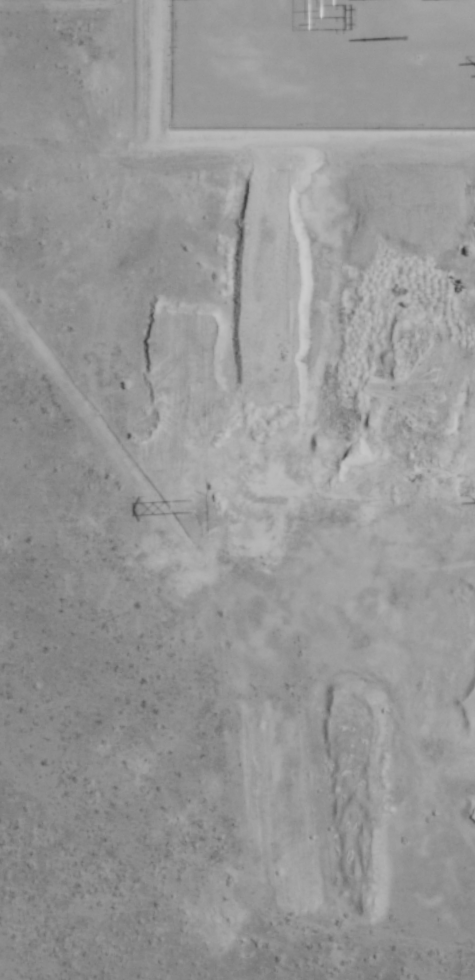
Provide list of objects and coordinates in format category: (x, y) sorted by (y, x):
power substation: (322, 63)

